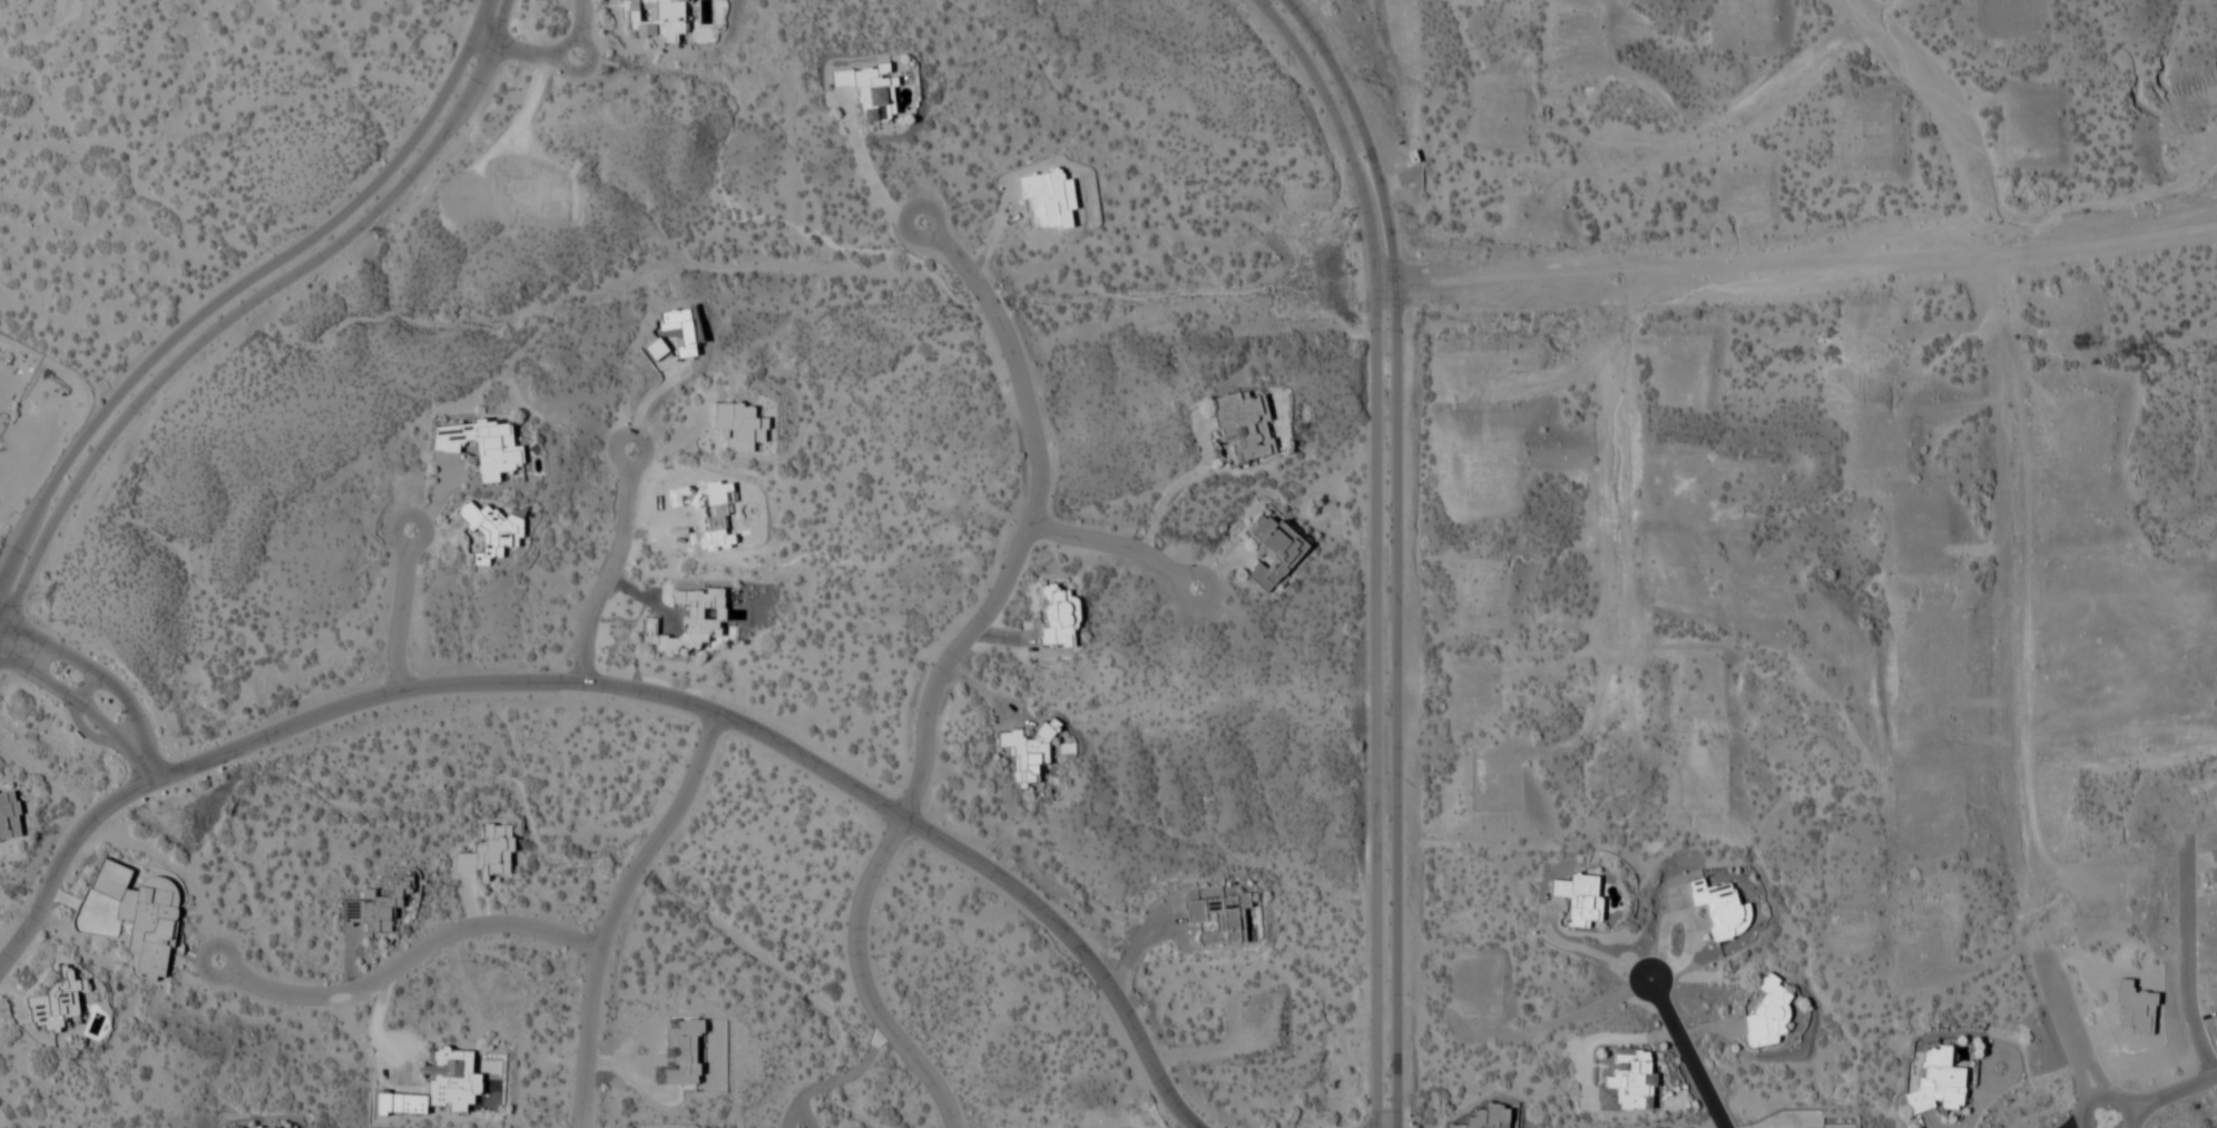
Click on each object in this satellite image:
road: (550, 55)
building: (869, 90)
road: (866, 176)
road: (241, 283)
road: (246, 303)
building: (1245, 424)
building: (738, 425)
building: (482, 445)
building: (493, 531)
road: (1122, 548)
building: (1273, 549)
road: (1381, 549)
road: (1400, 550)
road: (616, 569)
road: (404, 610)
building: (1058, 617)
building: (691, 619)
road: (12, 645)
road: (946, 668)
road: (116, 686)
road: (625, 689)
road: (92, 713)
building: (1028, 753)
building: (9, 814)
building: (488, 852)
building: (2214, 866)
building: (1579, 898)
road: (612, 909)
building: (1720, 909)
road: (406, 959)
road: (2187, 961)
building: (58, 1002)
building: (1768, 1012)
road: (2076, 1040)
road: (1687, 1055)
building: (1627, 1080)
building: (1938, 1082)
road: (2161, 1098)
building: (1485, 1116)
road: (2099, 1125)
building: (256, 1127)

